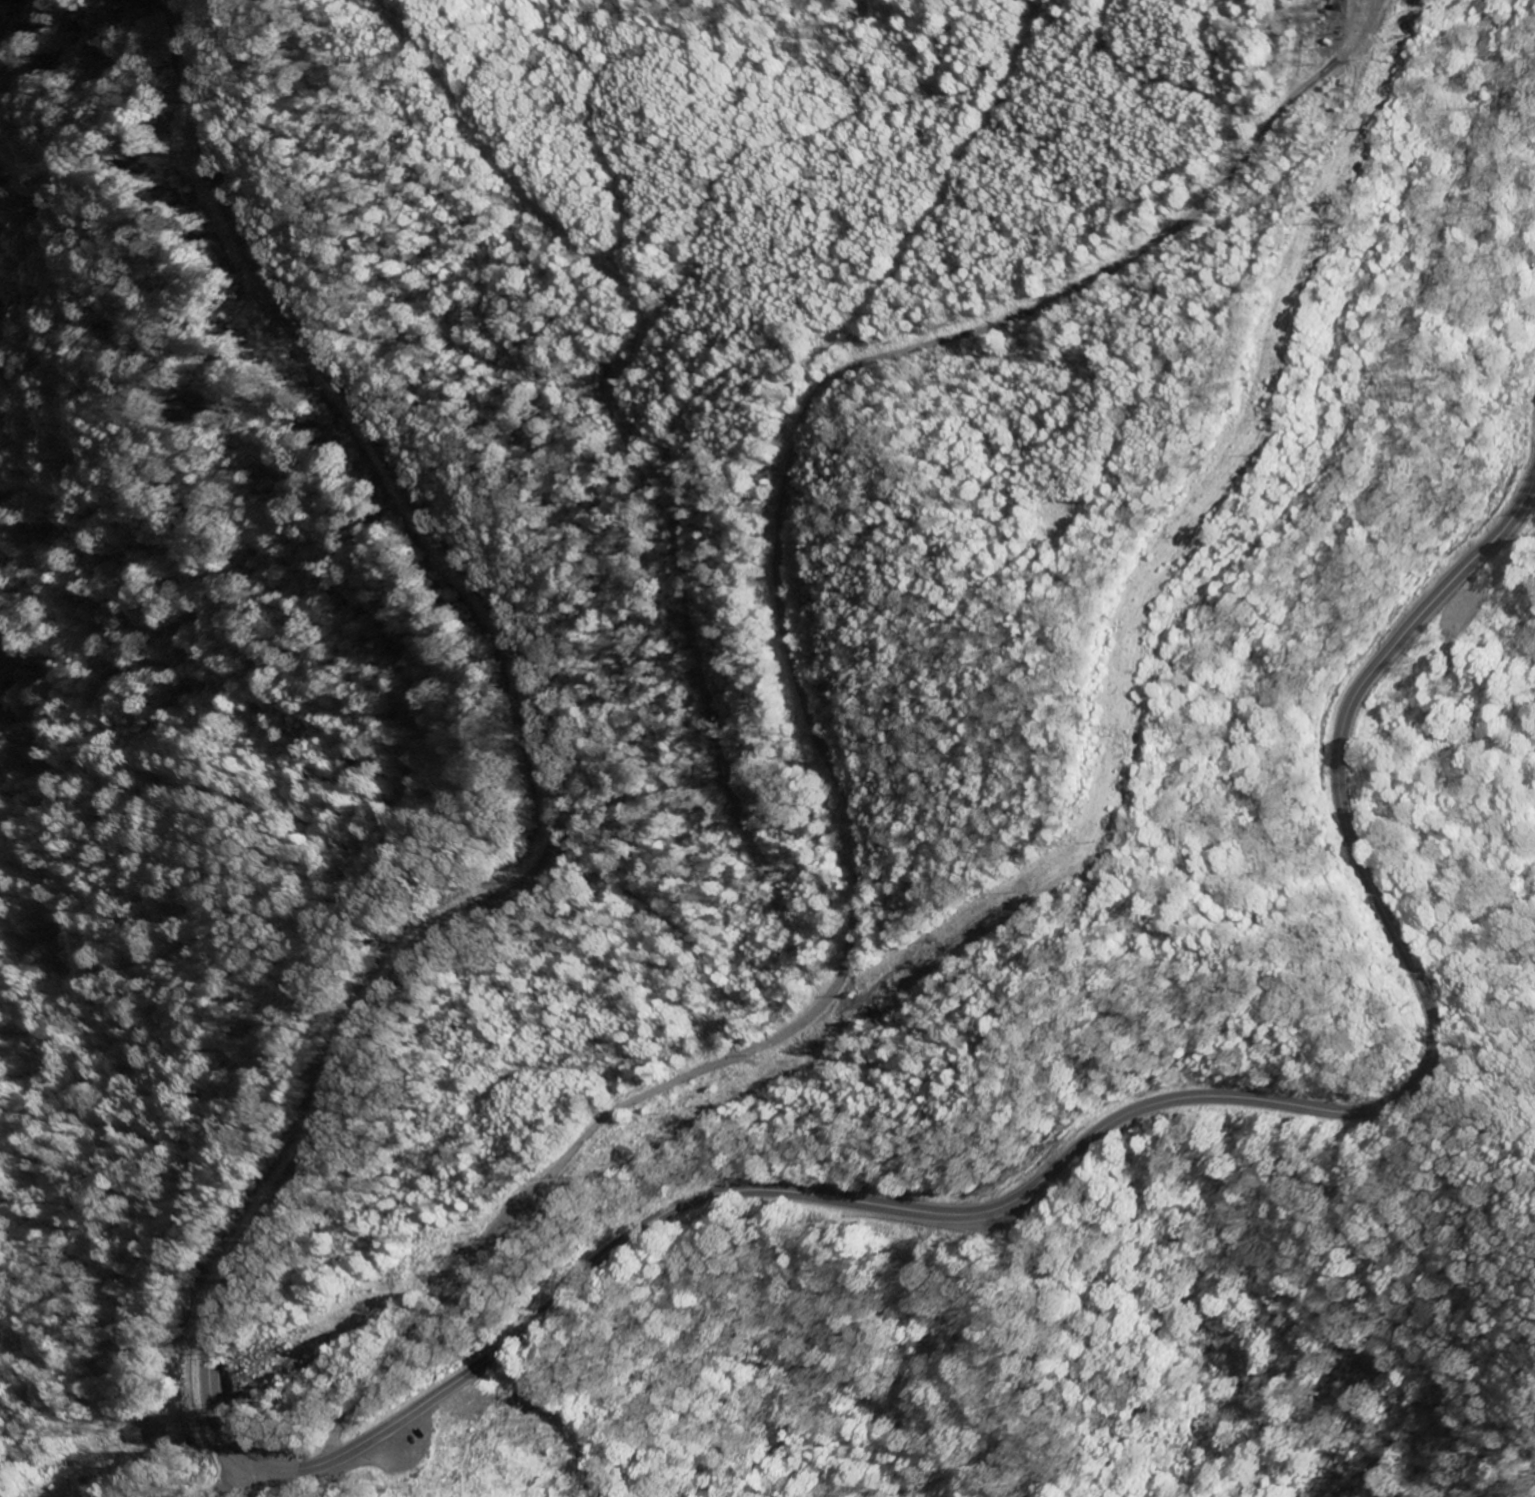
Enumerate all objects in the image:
road: (884, 385)
road: (866, 721)
road: (556, 789)
road: (1156, 1102)
road: (537, 1181)
road: (240, 1477)
road: (222, 1482)

